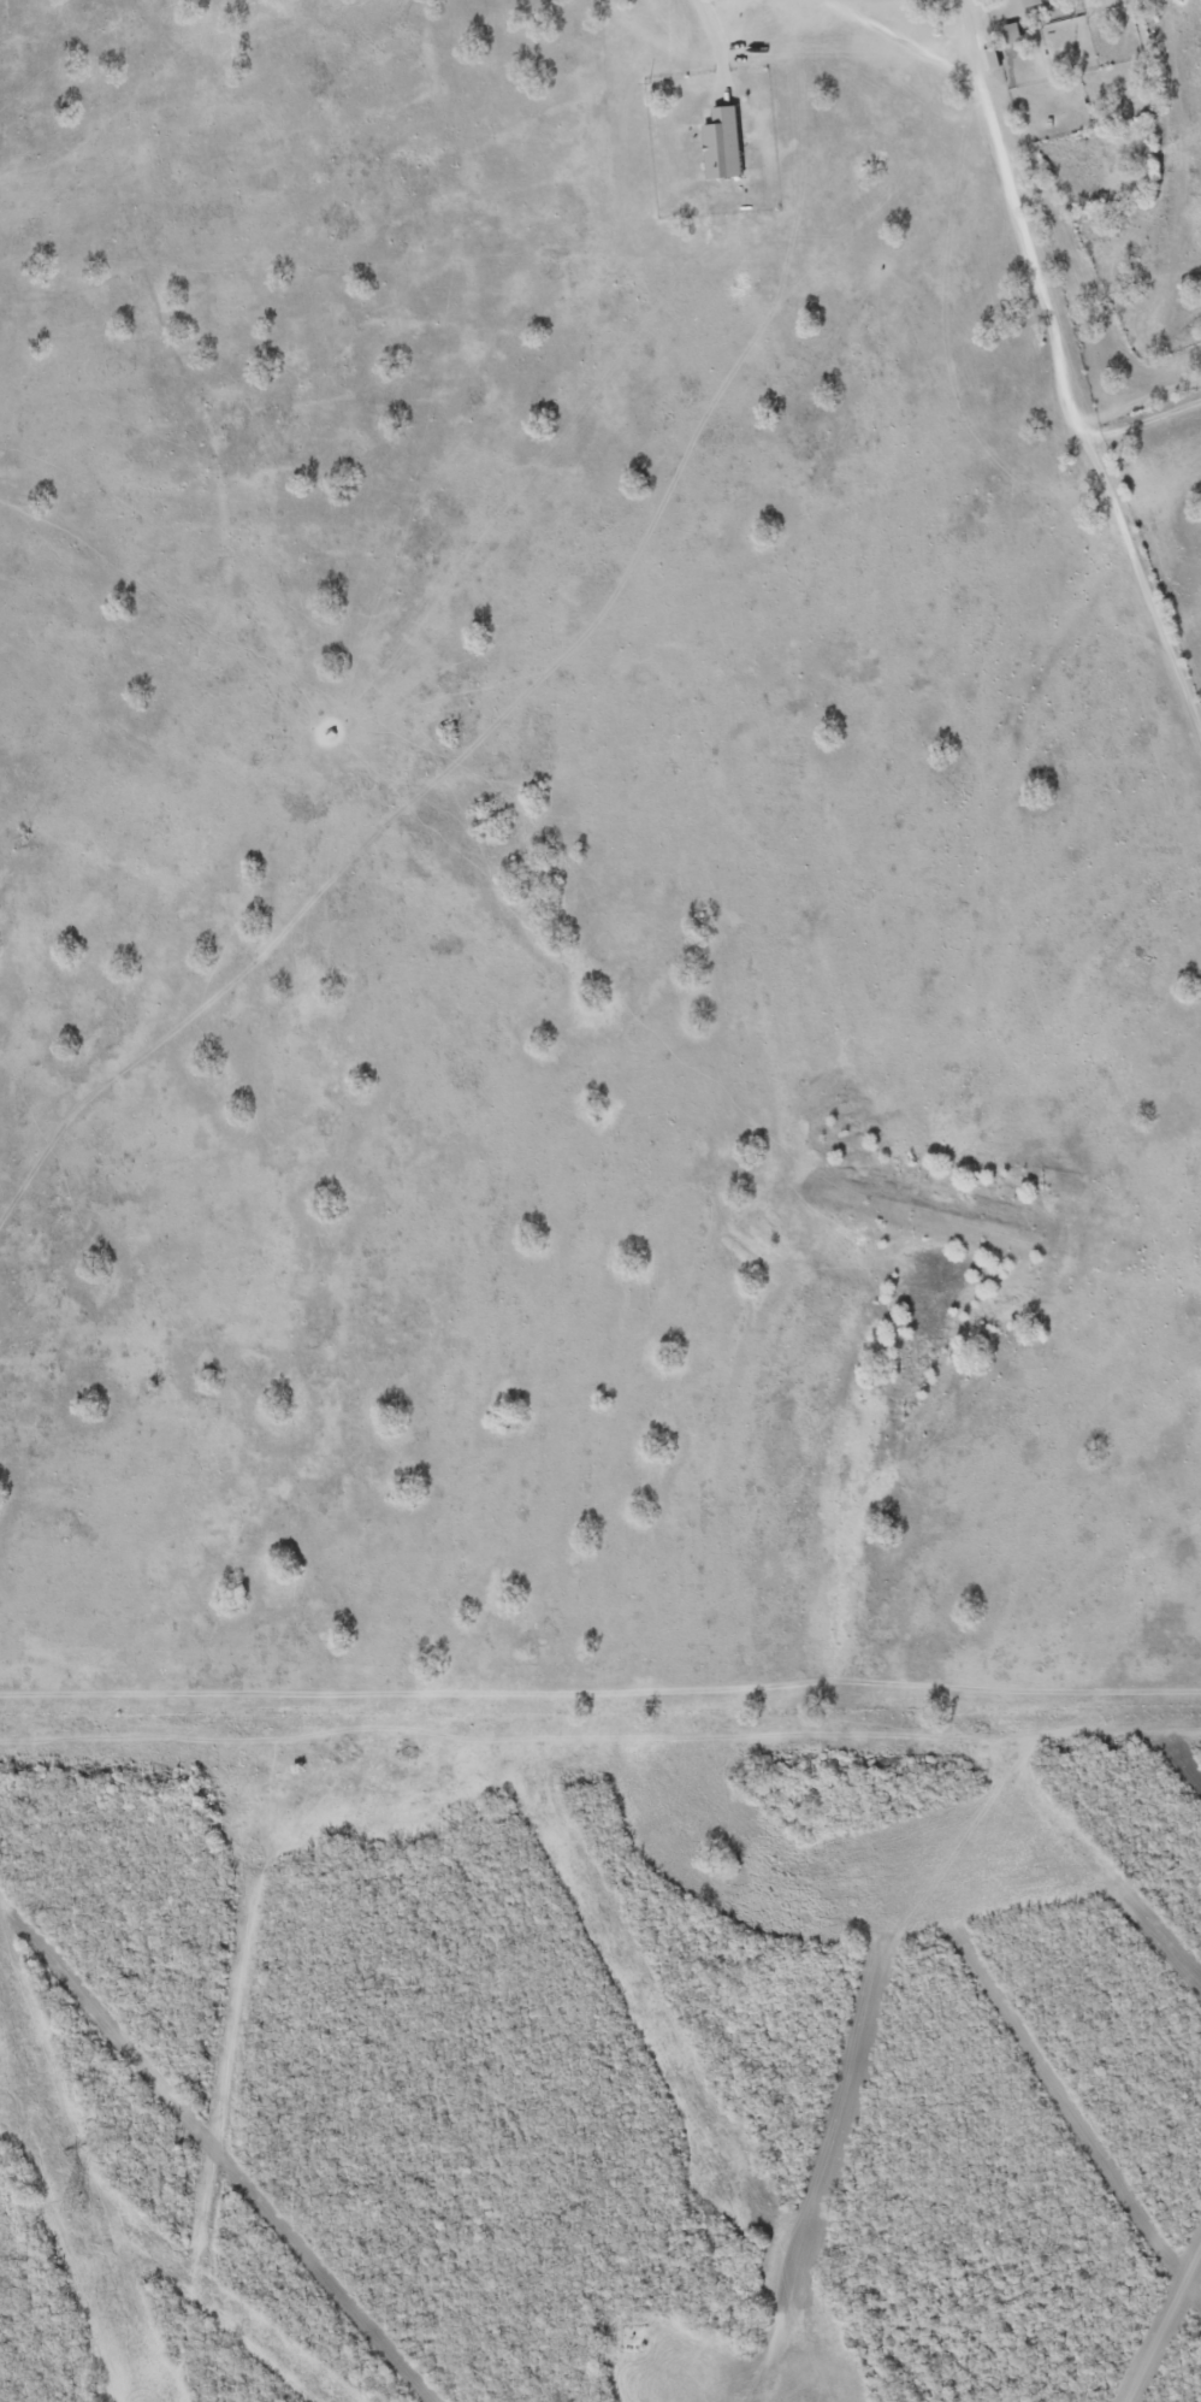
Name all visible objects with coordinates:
building: (1034, 2)
building: (1016, 34)
building: (994, 59)
power tower: (73, 2203)

